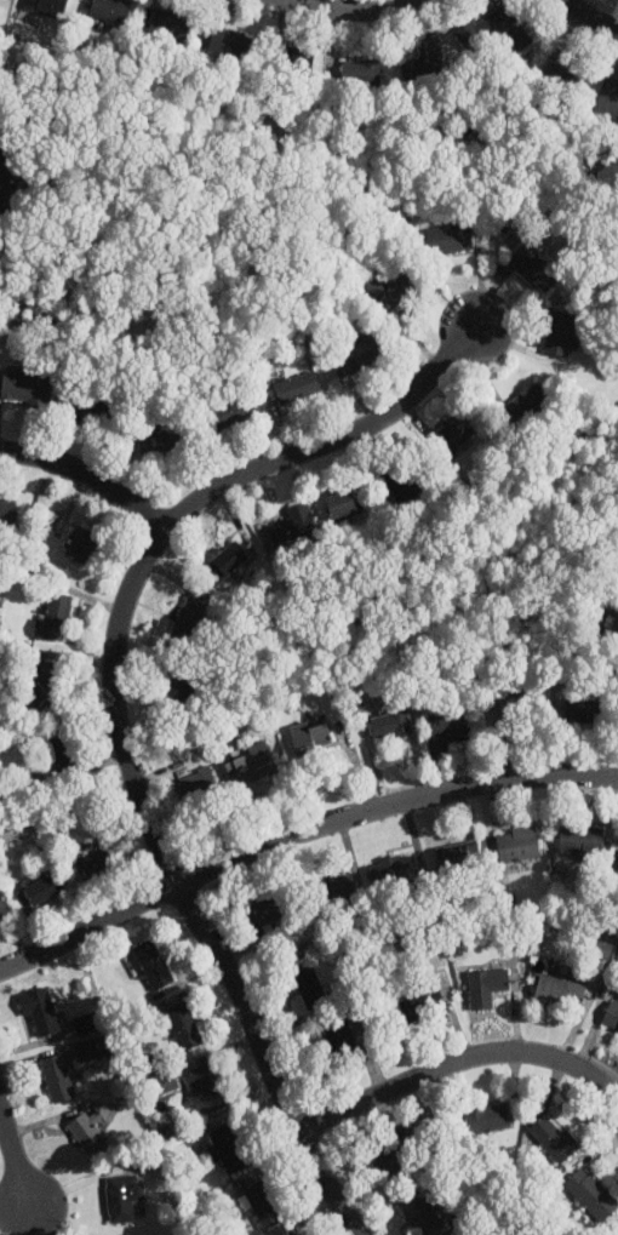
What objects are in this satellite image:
building: (45, 7)
building: (110, 10)
road: (347, 10)
road: (591, 18)
building: (171, 25)
building: (487, 27)
building: (231, 44)
building: (297, 59)
building: (425, 62)
building: (360, 73)
building: (568, 76)
building: (608, 98)
building: (2, 158)
building: (450, 239)
building: (533, 267)
building: (391, 282)
building: (559, 333)
building: (356, 354)
building: (297, 387)
building: (24, 389)
building: (88, 404)
building: (528, 404)
building: (234, 410)
building: (457, 429)
building: (162, 442)
road: (88, 478)
building: (408, 480)
building: (342, 503)
building: (7, 513)
building: (293, 526)
building: (80, 545)
building: (227, 562)
building: (55, 618)
building: (188, 623)
building: (614, 629)
building: (47, 684)
building: (178, 697)
building: (582, 710)
road: (115, 713)
building: (516, 713)
building: (391, 724)
building: (451, 724)
building: (310, 738)
building: (63, 748)
building: (252, 765)
building: (199, 784)
road: (298, 834)
building: (582, 839)
building: (517, 845)
building: (459, 856)
building: (97, 865)
building: (617, 868)
building: (393, 871)
building: (44, 888)
building: (336, 892)
building: (2, 907)
building: (267, 914)
building: (602, 948)
building: (153, 965)
building: (437, 984)
building: (486, 985)
building: (308, 987)
building: (559, 993)
building: (422, 1006)
building: (39, 1011)
building: (611, 1016)
building: (87, 1024)
building: (184, 1025)
building: (339, 1041)
building: (95, 1047)
road: (458, 1060)
building: (57, 1079)
building: (161, 1086)
building: (206, 1087)
building: (487, 1120)
building: (88, 1134)
building: (554, 1138)
building: (228, 1148)
building: (393, 1154)
road: (16, 1157)
building: (591, 1195)
building: (124, 1197)
building: (264, 1205)
building: (420, 1213)
building: (296, 1234)

